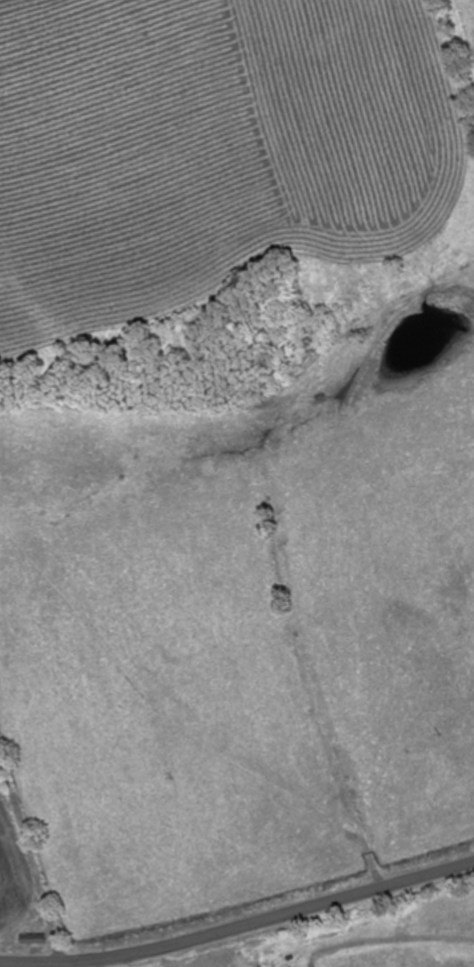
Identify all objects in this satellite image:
road: (239, 927)
building: (31, 939)
building: (201, 962)
road: (67, 964)

